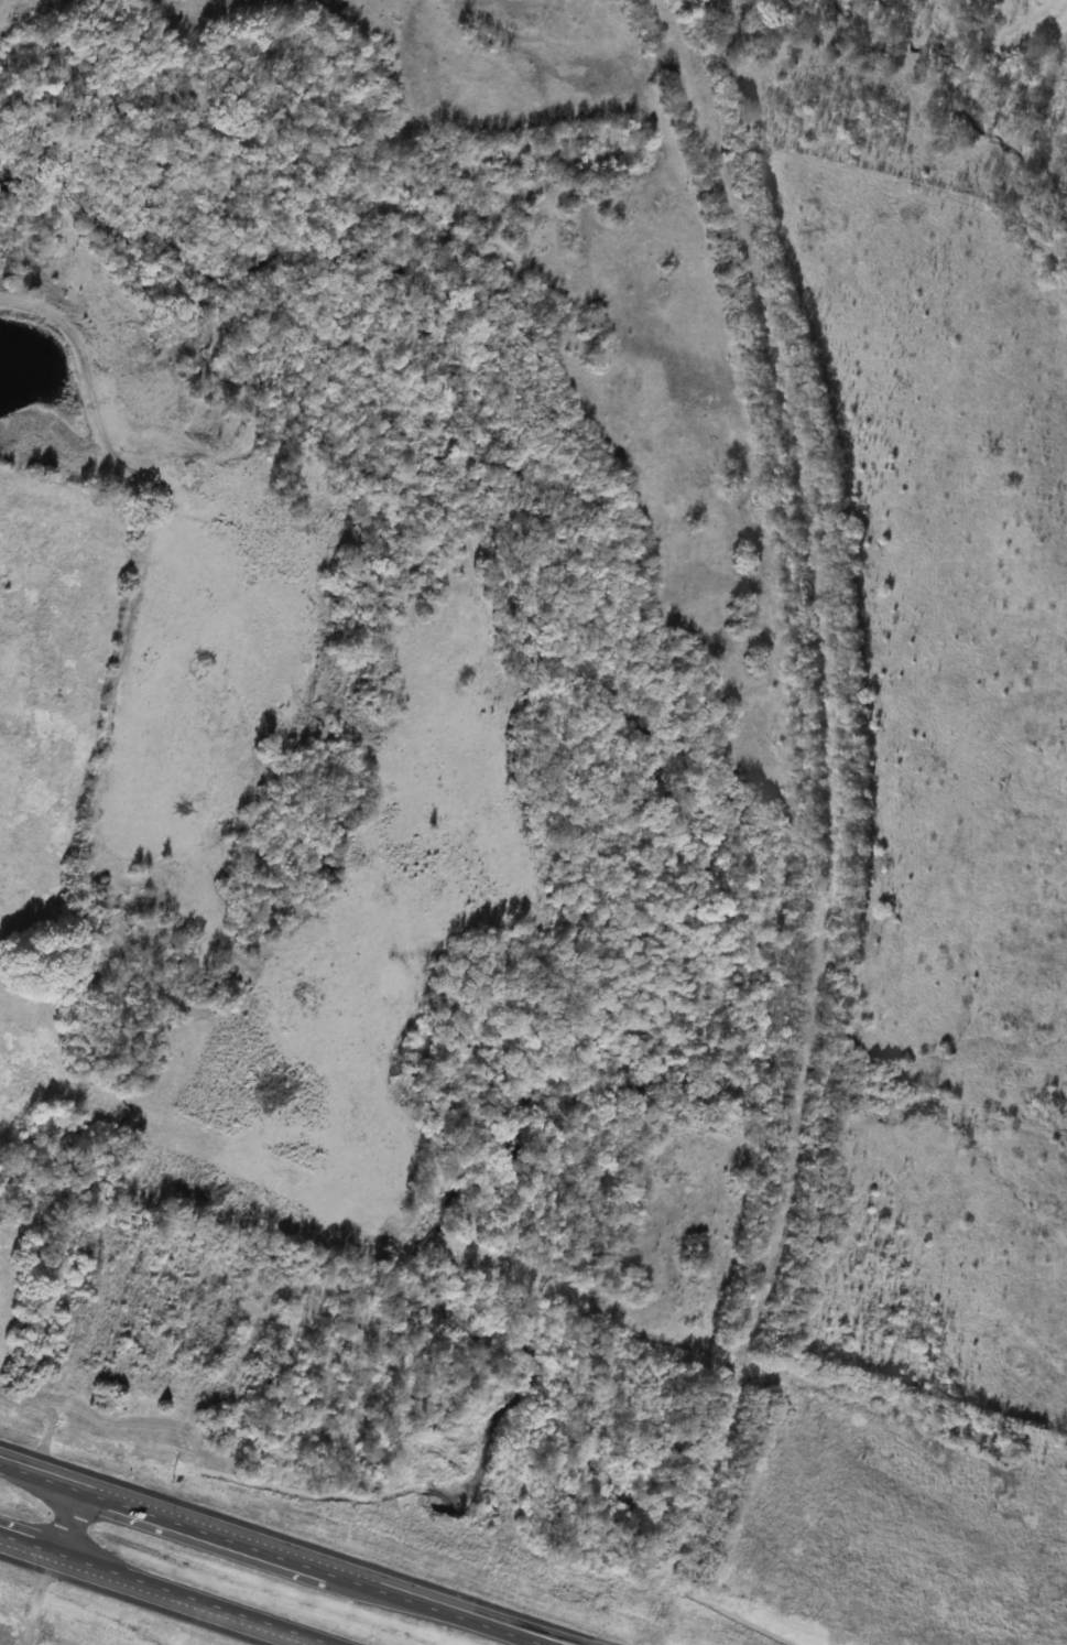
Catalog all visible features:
railway: (832, 826)
road: (62, 1515)
road: (290, 1550)
road: (173, 1588)
road: (581, 1644)
road: (583, 1644)

